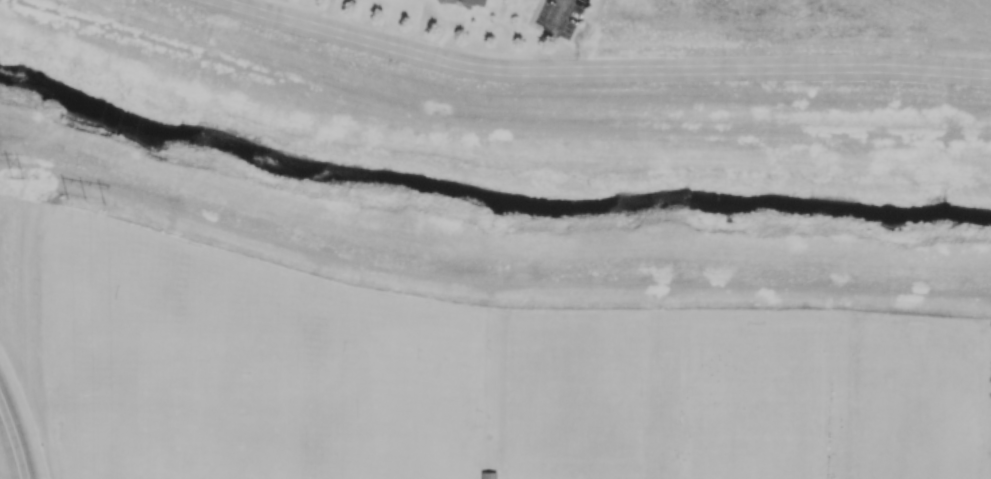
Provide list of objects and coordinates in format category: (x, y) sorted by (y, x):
building: (476, 2)
road: (557, 14)
parking lot: (559, 17)
road: (597, 71)
power tower: (21, 180)
power tower: (92, 196)
river: (486, 201)
road: (487, 283)
park: (132, 345)
park: (241, 345)
park: (467, 372)
park: (576, 394)
park: (381, 400)
park: (747, 401)
road: (26, 420)
park: (920, 424)
park: (242, 426)
park: (133, 427)
road: (14, 439)
park: (573, 466)
park: (133, 473)
park: (243, 473)
building: (489, 475)

